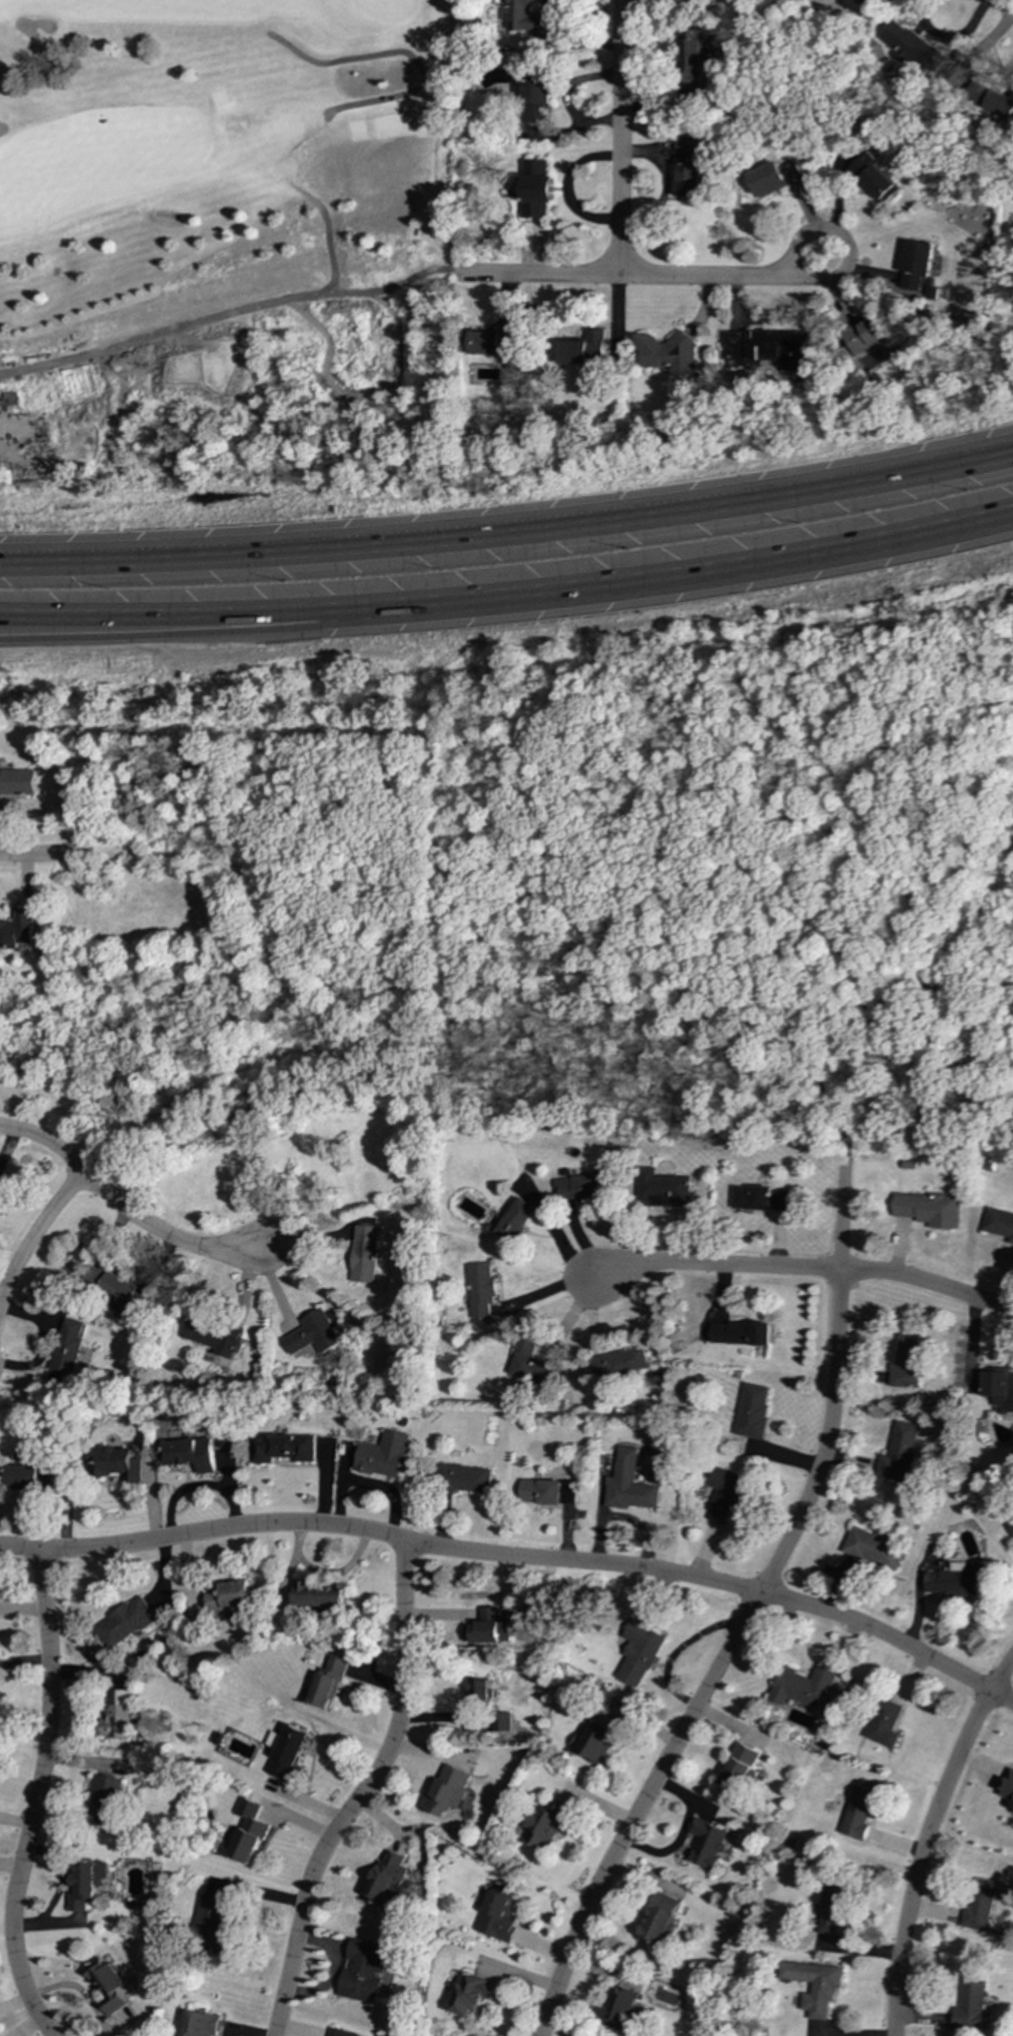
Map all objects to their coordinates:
building: (859, 2)
road: (1003, 6)
building: (527, 18)
building: (911, 46)
road: (401, 52)
building: (691, 58)
building: (537, 97)
building: (991, 100)
road: (619, 136)
building: (686, 170)
building: (775, 178)
building: (874, 178)
building: (537, 189)
park: (228, 239)
road: (848, 257)
building: (918, 266)
road: (626, 274)
road: (225, 312)
building: (867, 333)
building: (496, 341)
building: (769, 348)
building: (584, 349)
building: (668, 353)
road: (508, 529)
road: (678, 574)
road: (170, 613)
road: (170, 629)
building: (17, 783)
road: (37, 855)
park: (547, 902)
building: (18, 929)
road: (898, 991)
road: (369, 1038)
road: (184, 1097)
road: (825, 1099)
building: (589, 1188)
building: (668, 1189)
building: (762, 1198)
building: (929, 1209)
road: (127, 1212)
building: (522, 1220)
building: (999, 1223)
road: (35, 1232)
building: (370, 1254)
road: (808, 1269)
building: (117, 1286)
building: (490, 1293)
building: (72, 1332)
building: (216, 1333)
building: (745, 1333)
building: (320, 1334)
building: (630, 1362)
building: (907, 1362)
building: (537, 1366)
building: (998, 1390)
building: (755, 1411)
building: (293, 1448)
building: (197, 1454)
building: (899, 1454)
building: (395, 1455)
building: (122, 1464)
building: (32, 1478)
building: (476, 1479)
building: (635, 1485)
building: (549, 1491)
building: (728, 1494)
building: (576, 1495)
road: (21, 1548)
building: (872, 1549)
road: (539, 1558)
building: (956, 1580)
building: (330, 1594)
building: (238, 1595)
road: (746, 1617)
building: (130, 1622)
building: (496, 1628)
building: (641, 1652)
building: (336, 1681)
building: (801, 1686)
building: (485, 1691)
building: (121, 1715)
building: (506, 1721)
building: (883, 1722)
building: (598, 1738)
building: (291, 1752)
building: (740, 1768)
building: (1008, 1786)
building: (450, 1791)
road: (367, 1794)
road: (37, 1798)
building: (105, 1799)
building: (1012, 1809)
building: (858, 1812)
building: (546, 1824)
building: (251, 1831)
road: (926, 1838)
building: (707, 1843)
building: (390, 1876)
building: (87, 1883)
building: (979, 1905)
building: (832, 1906)
building: (499, 1913)
building: (659, 1918)
building: (215, 1925)
building: (364, 1970)
building: (107, 1984)
building: (813, 1985)
building: (470, 1993)
building: (970, 2004)
building: (620, 2008)
building: (201, 2023)
building: (344, 2032)

